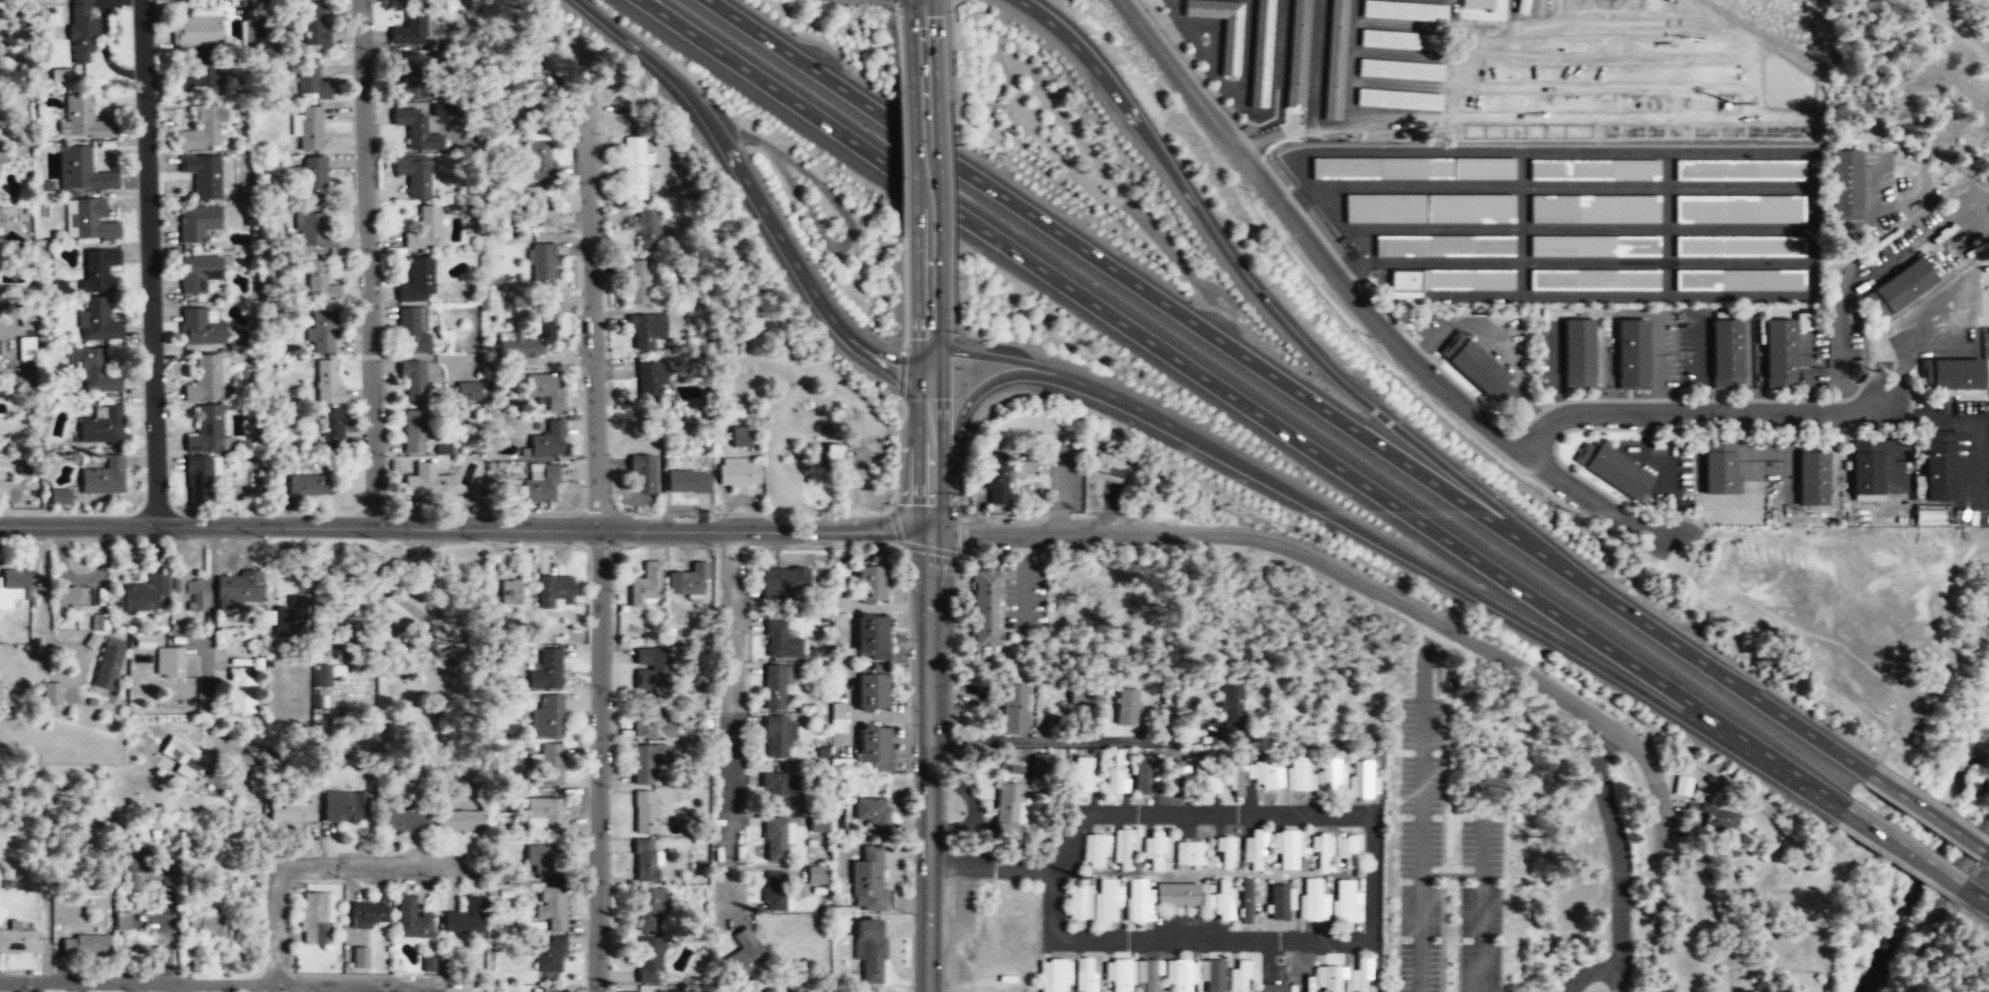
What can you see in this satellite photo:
road: (892, 1)
building: (1479, 3)
building: (1523, 6)
building: (1537, 6)
building: (1404, 12)
building: (1481, 17)
building: (412, 30)
building: (83, 31)
building: (314, 31)
building: (196, 32)
building: (1395, 40)
road: (896, 41)
road: (921, 42)
building: (1230, 47)
road: (641, 51)
street lamp: (374, 52)
building: (1260, 53)
building: (1297, 59)
building: (1335, 59)
building: (1400, 70)
building: (197, 73)
building: (61, 74)
building: (415, 79)
building: (311, 81)
building: (1491, 82)
street lamp: (156, 100)
building: (1398, 100)
building: (451, 108)
building: (83, 119)
building: (310, 129)
building: (202, 130)
building: (416, 130)
road: (901, 153)
building: (2, 156)
building: (536, 161)
road: (925, 163)
building: (633, 168)
building: (1411, 168)
building: (1594, 170)
building: (1739, 170)
building: (83, 171)
building: (414, 174)
building: (203, 175)
building: (314, 180)
building: (1845, 186)
building: (1429, 208)
building: (536, 209)
building: (1594, 209)
building: (1739, 209)
building: (89, 220)
building: (0, 221)
building: (196, 224)
building: (424, 229)
building: (647, 229)
building: (314, 231)
building: (1444, 246)
building: (1594, 246)
building: (1739, 246)
road: (795, 262)
road: (148, 263)
road: (368, 263)
building: (542, 265)
building: (97, 270)
building: (198, 274)
building: (268, 276)
road: (1129, 279)
building: (1452, 280)
building: (1594, 280)
building: (1739, 280)
building: (418, 281)
building: (640, 282)
building: (319, 284)
building: (59, 287)
building: (1898, 288)
road: (904, 289)
road: (1262, 298)
road: (1358, 301)
street lamp: (162, 302)
building: (26, 320)
building: (97, 321)
building: (200, 327)
building: (413, 331)
building: (647, 331)
building: (323, 332)
building: (510, 337)
building: (26, 348)
street lamp: (583, 349)
building: (1578, 354)
building: (1631, 355)
building: (1725, 355)
building: (1779, 355)
road: (1015, 361)
road: (1183, 363)
building: (1477, 369)
building: (94, 371)
road: (900, 374)
building: (1950, 374)
traffic signals: (928, 375)
building: (208, 379)
building: (414, 382)
building: (327, 384)
building: (650, 385)
road: (928, 387)
building: (545, 390)
building: (468, 391)
road: (968, 402)
road: (1709, 420)
building: (101, 427)
building: (207, 431)
building: (332, 432)
building: (418, 433)
building: (744, 436)
building: (548, 441)
street lamp: (386, 455)
building: (832, 456)
building: (1937, 468)
building: (1103, 469)
building: (1612, 471)
building: (1719, 471)
building: (1865, 472)
building: (642, 474)
road: (895, 474)
building: (738, 475)
building: (1811, 476)
building: (200, 478)
building: (103, 479)
building: (995, 479)
building: (540, 482)
building: (687, 482)
building: (428, 486)
building: (308, 487)
building: (59, 497)
road: (902, 504)
street lamp: (1084, 511)
building: (1927, 515)
road: (464, 529)
traffic signals: (930, 532)
street lamp: (263, 537)
street lamp: (181, 538)
street lamp: (380, 539)
road: (600, 540)
street lamp: (626, 545)
road: (1411, 560)
street lamp: (749, 561)
building: (841, 575)
building: (689, 578)
building: (18, 579)
road: (1349, 580)
building: (782, 582)
building: (646, 583)
building: (870, 584)
building: (237, 589)
building: (145, 591)
building: (191, 591)
building: (510, 592)
building: (554, 592)
building: (65, 597)
building: (116, 601)
building: (984, 608)
road: (209, 615)
building: (290, 617)
building: (100, 621)
building: (871, 637)
building: (143, 641)
building: (782, 641)
building: (846, 662)
building: (107, 663)
building: (169, 663)
building: (653, 667)
road: (1709, 667)
building: (545, 668)
building: (321, 676)
building: (775, 685)
street lamp: (613, 689)
building: (240, 692)
building: (872, 692)
building: (51, 693)
building: (1080, 696)
building: (1127, 702)
building: (1233, 702)
building: (1014, 710)
building: (547, 717)
road: (732, 718)
building: (839, 718)
building: (654, 722)
building: (778, 736)
road: (1070, 742)
building: (875, 749)
building: (187, 758)
building: (649, 761)
road: (929, 762)
building: (551, 764)
building: (1041, 765)
river: (1962, 768)
road: (1783, 771)
building: (1117, 773)
building: (1081, 775)
building: (1297, 775)
building: (1142, 776)
building: (1267, 776)
building: (1331, 776)
building: (1361, 779)
building: (1206, 780)
building: (1236, 782)
building: (781, 788)
building: (1682, 790)
building: (1008, 807)
building: (346, 808)
building: (646, 811)
road: (1926, 812)
building: (292, 813)
building: (545, 814)
building: (872, 816)
building: (1716, 817)
building: (459, 821)
building: (407, 822)
river: (1946, 824)
building: (818, 825)
building: (776, 838)
river: (1942, 846)
road: (1903, 847)
building: (1287, 848)
building: (1347, 848)
road: (1424, 848)
building: (1122, 849)
building: (1153, 850)
building: (1252, 850)
building: (1095, 851)
building: (1225, 851)
building: (1321, 851)
road: (1986, 851)
building: (1189, 854)
building: (646, 860)
building: (543, 861)
road: (990, 865)
river: (1928, 867)
road: (318, 868)
road: (1619, 872)
building: (150, 874)
building: (818, 875)
street lamp: (437, 878)
building: (868, 881)
building: (775, 890)
road: (1975, 893)
building: (1175, 895)
building: (1106, 899)
building: (1138, 900)
building: (1312, 900)
building: (1345, 901)
building: (1080, 902)
building: (1246, 902)
building: (1279, 902)
building: (1223, 904)
building: (651, 907)
building: (553, 909)
building: (369, 913)
building: (316, 918)
building: (465, 918)
building: (412, 920)
building: (123, 922)
building: (209, 926)
river: (1891, 934)
road: (1064, 940)
building: (18, 941)
building: (87, 946)
building: (869, 950)
building: (745, 954)
building: (360, 957)
building: (650, 959)
building: (550, 960)
building: (428, 964)
street lamp: (259, 972)
building: (1117, 974)
building: (1054, 975)
building: (1084, 975)
building: (1147, 975)
building: (1177, 975)
building: (1212, 976)
building: (1358, 976)
building: (1239, 977)
building: (1327, 979)
road: (202, 984)
street lamp: (610, 984)
road: (259, 988)
building: (1272, 988)
building: (550, 990)
street lamp: (38, 991)
building: (626, 991)

